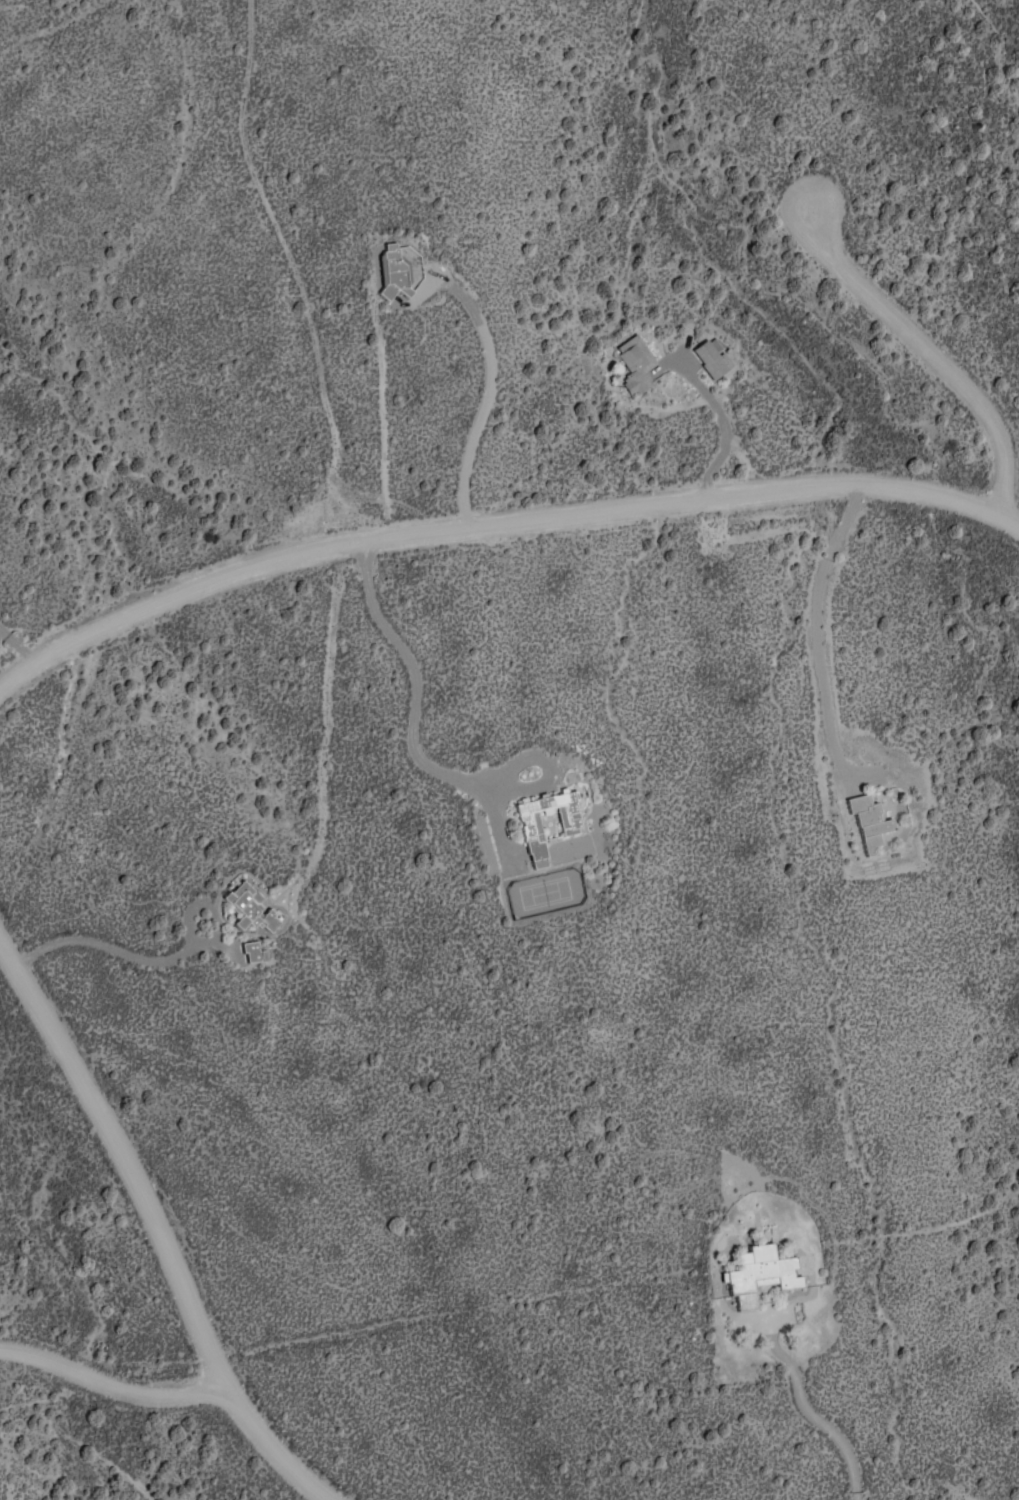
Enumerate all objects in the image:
road: (932, 351)
building: (713, 357)
building: (636, 363)
road: (497, 520)
road: (409, 701)
building: (579, 796)
building: (871, 819)
building: (569, 822)
park: (545, 892)
building: (251, 905)
road: (108, 947)
building: (254, 950)
road: (156, 1230)
building: (761, 1273)
road: (109, 1383)

